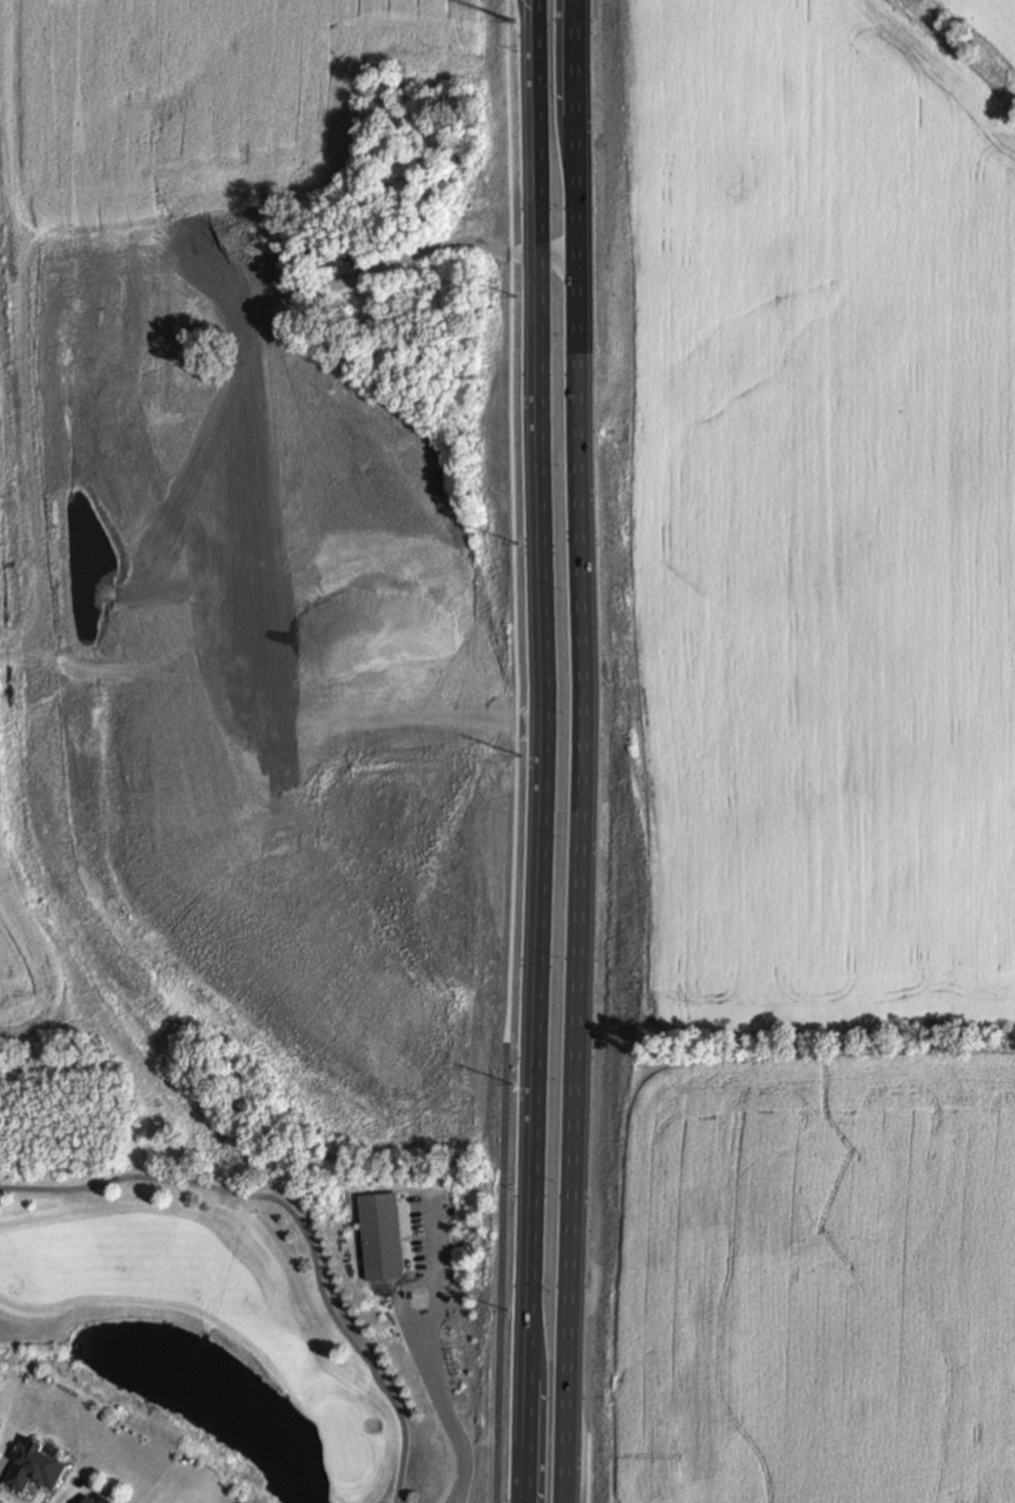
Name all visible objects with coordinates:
road: (577, 56)
power tower: (520, 75)
power tower: (528, 233)
road: (418, 253)
building: (336, 254)
crop: (268, 486)
road: (514, 520)
crop: (811, 527)
road: (544, 682)
road: (579, 799)
building: (718, 1130)
building: (939, 1146)
road: (296, 1222)
building: (382, 1231)
building: (720, 1246)
building: (935, 1265)
road: (502, 1272)
park: (269, 1327)
road: (427, 1357)
building: (709, 1367)
building: (936, 1378)
road: (525, 1434)
park: (340, 1441)
building: (38, 1464)
building: (945, 1482)
building: (793, 1484)
road: (559, 1494)
building: (751, 1497)
building: (95, 1499)

